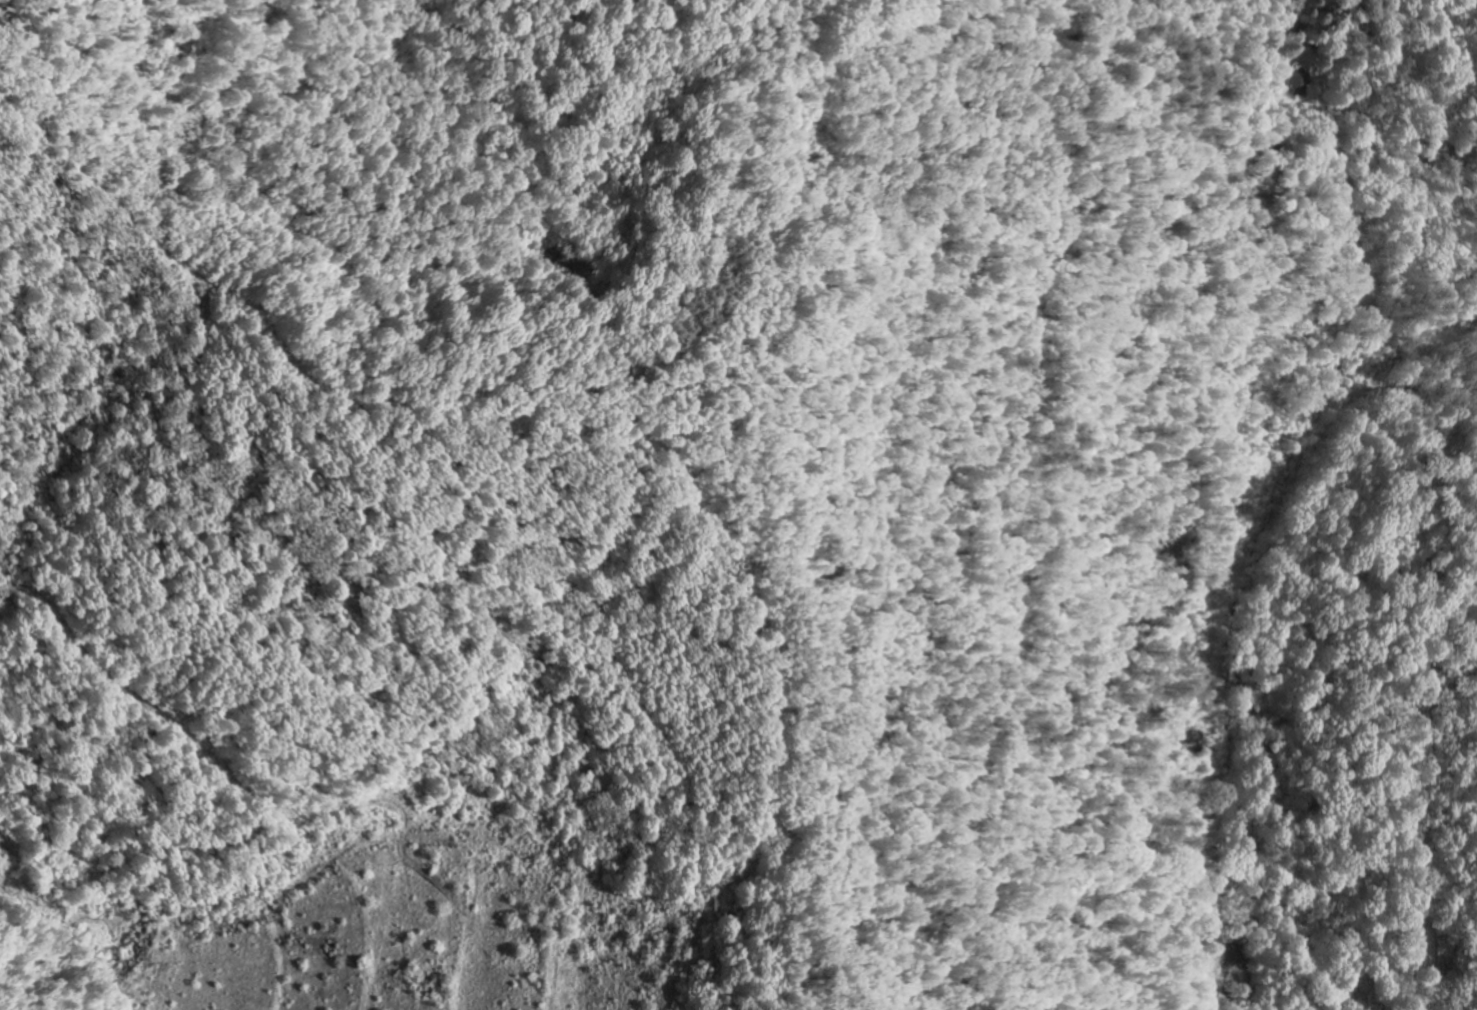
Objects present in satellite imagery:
road: (1339, 467)

